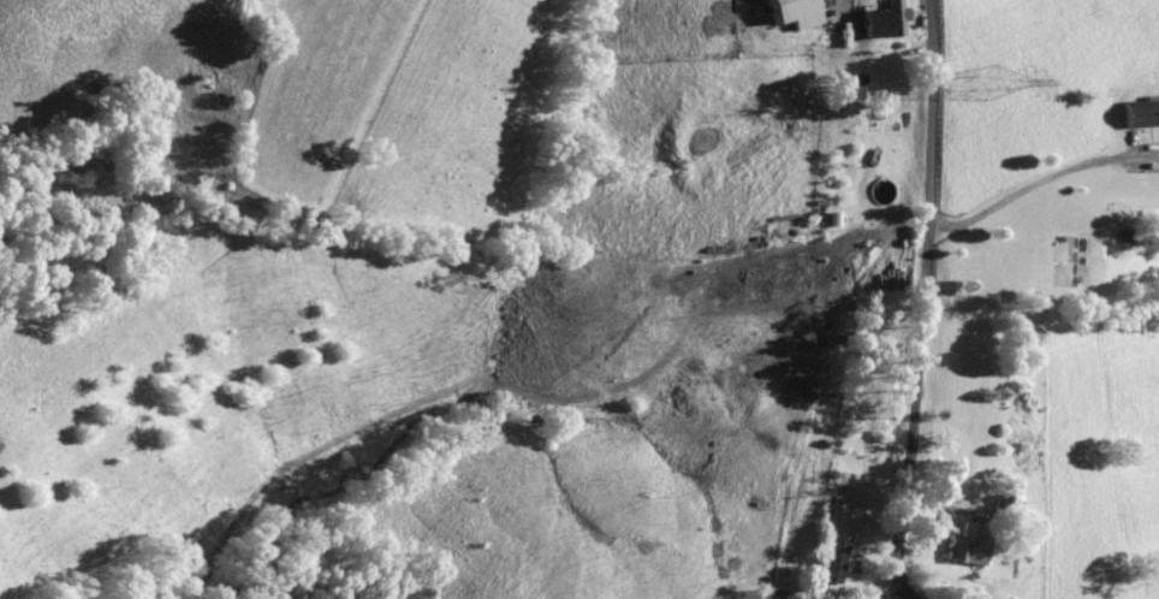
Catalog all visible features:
building: (789, 12)
building: (881, 20)
power tower: (994, 83)
building: (1139, 113)
road: (1040, 180)
road: (926, 302)
building: (830, 557)

